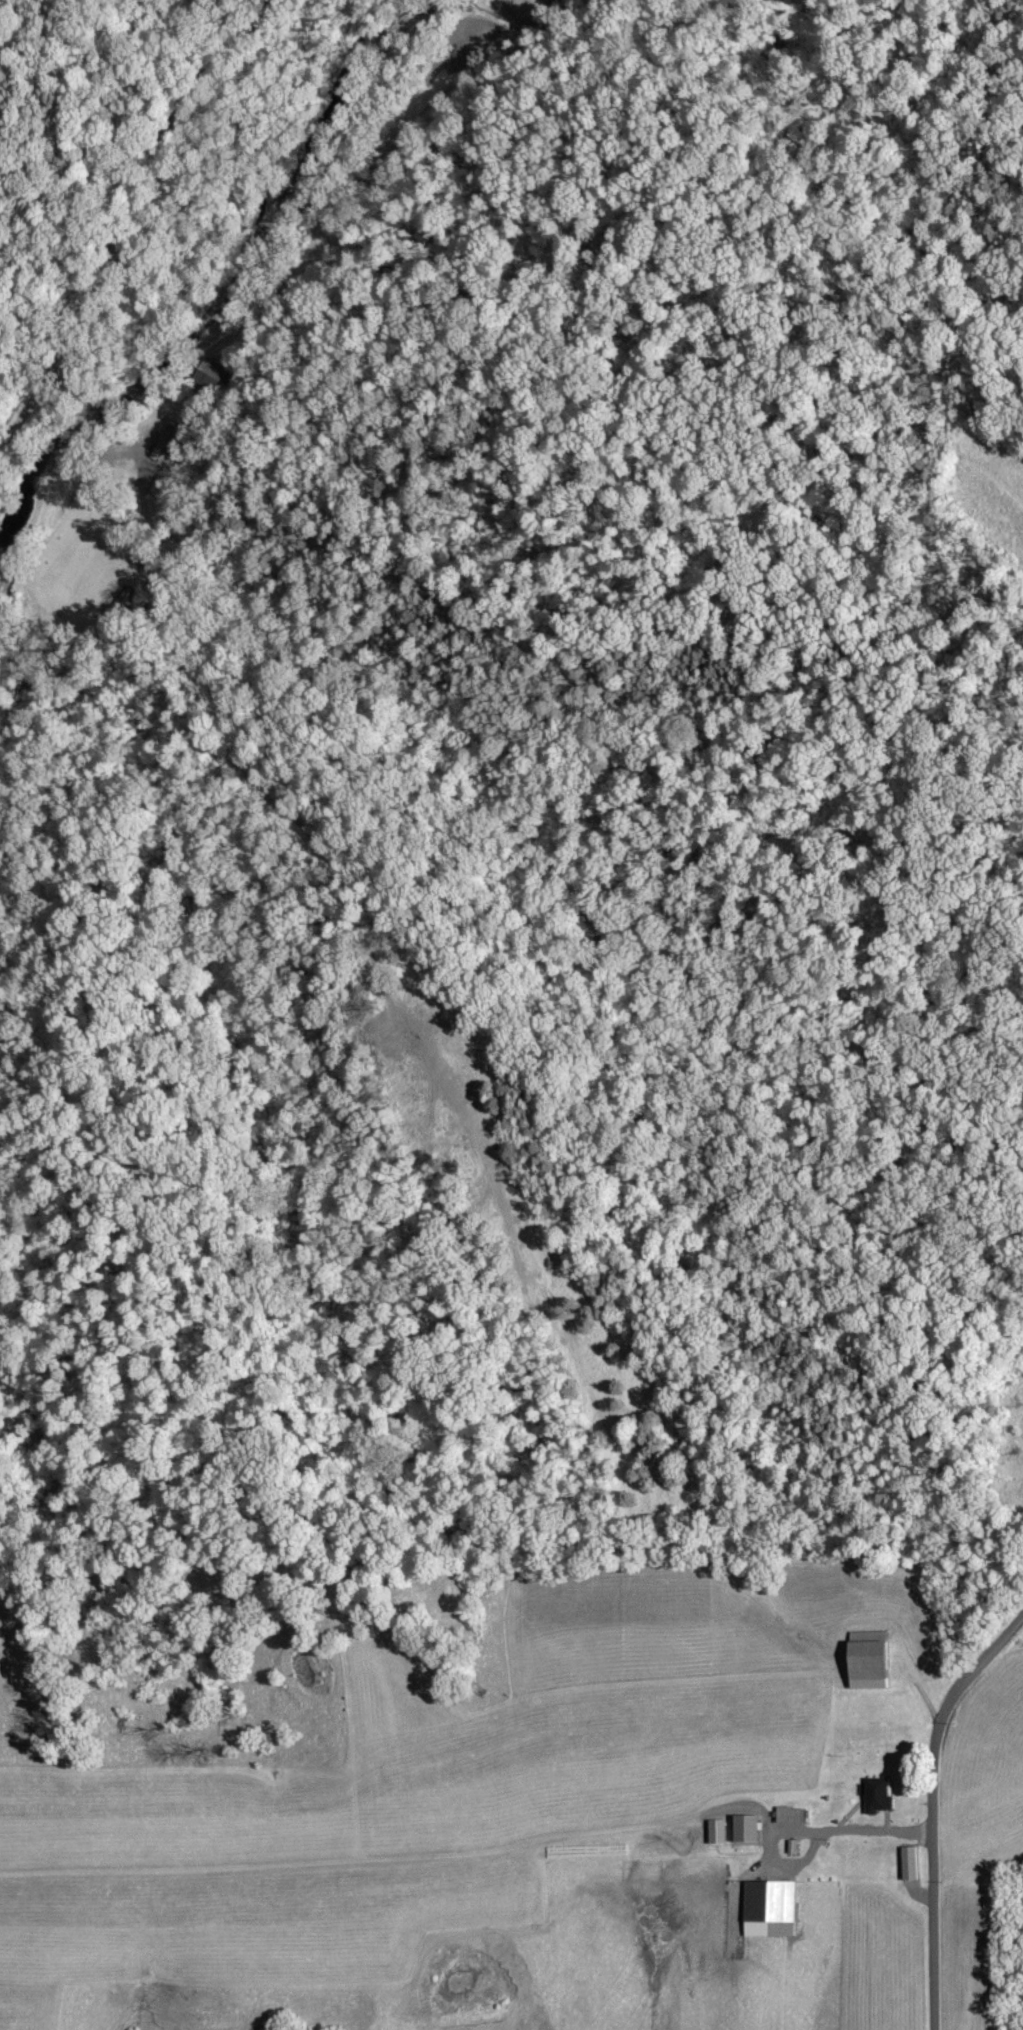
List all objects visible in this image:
road: (138, 211)
building: (861, 1662)
building: (873, 1796)
road: (932, 1811)
building: (785, 1816)
building: (742, 1830)
road: (874, 1840)
road: (771, 1844)
building: (764, 1910)

